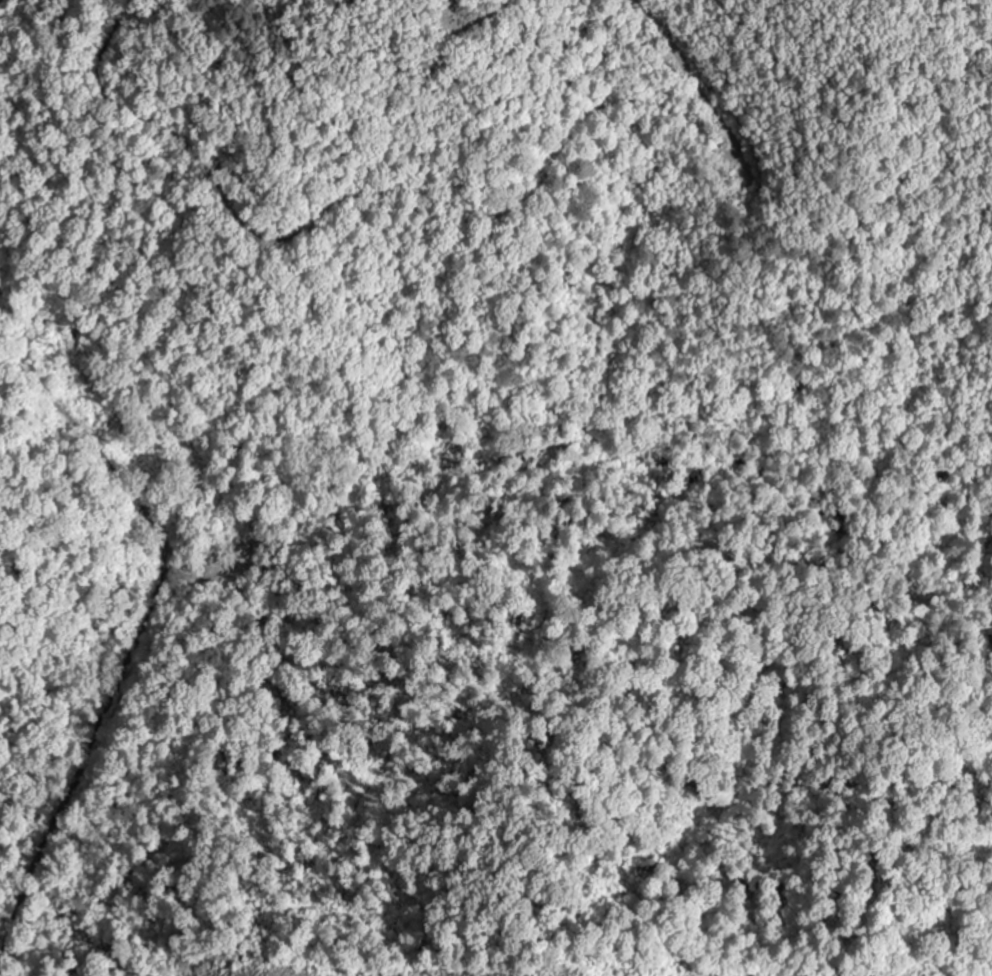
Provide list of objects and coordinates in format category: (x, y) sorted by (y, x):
road: (129, 671)

